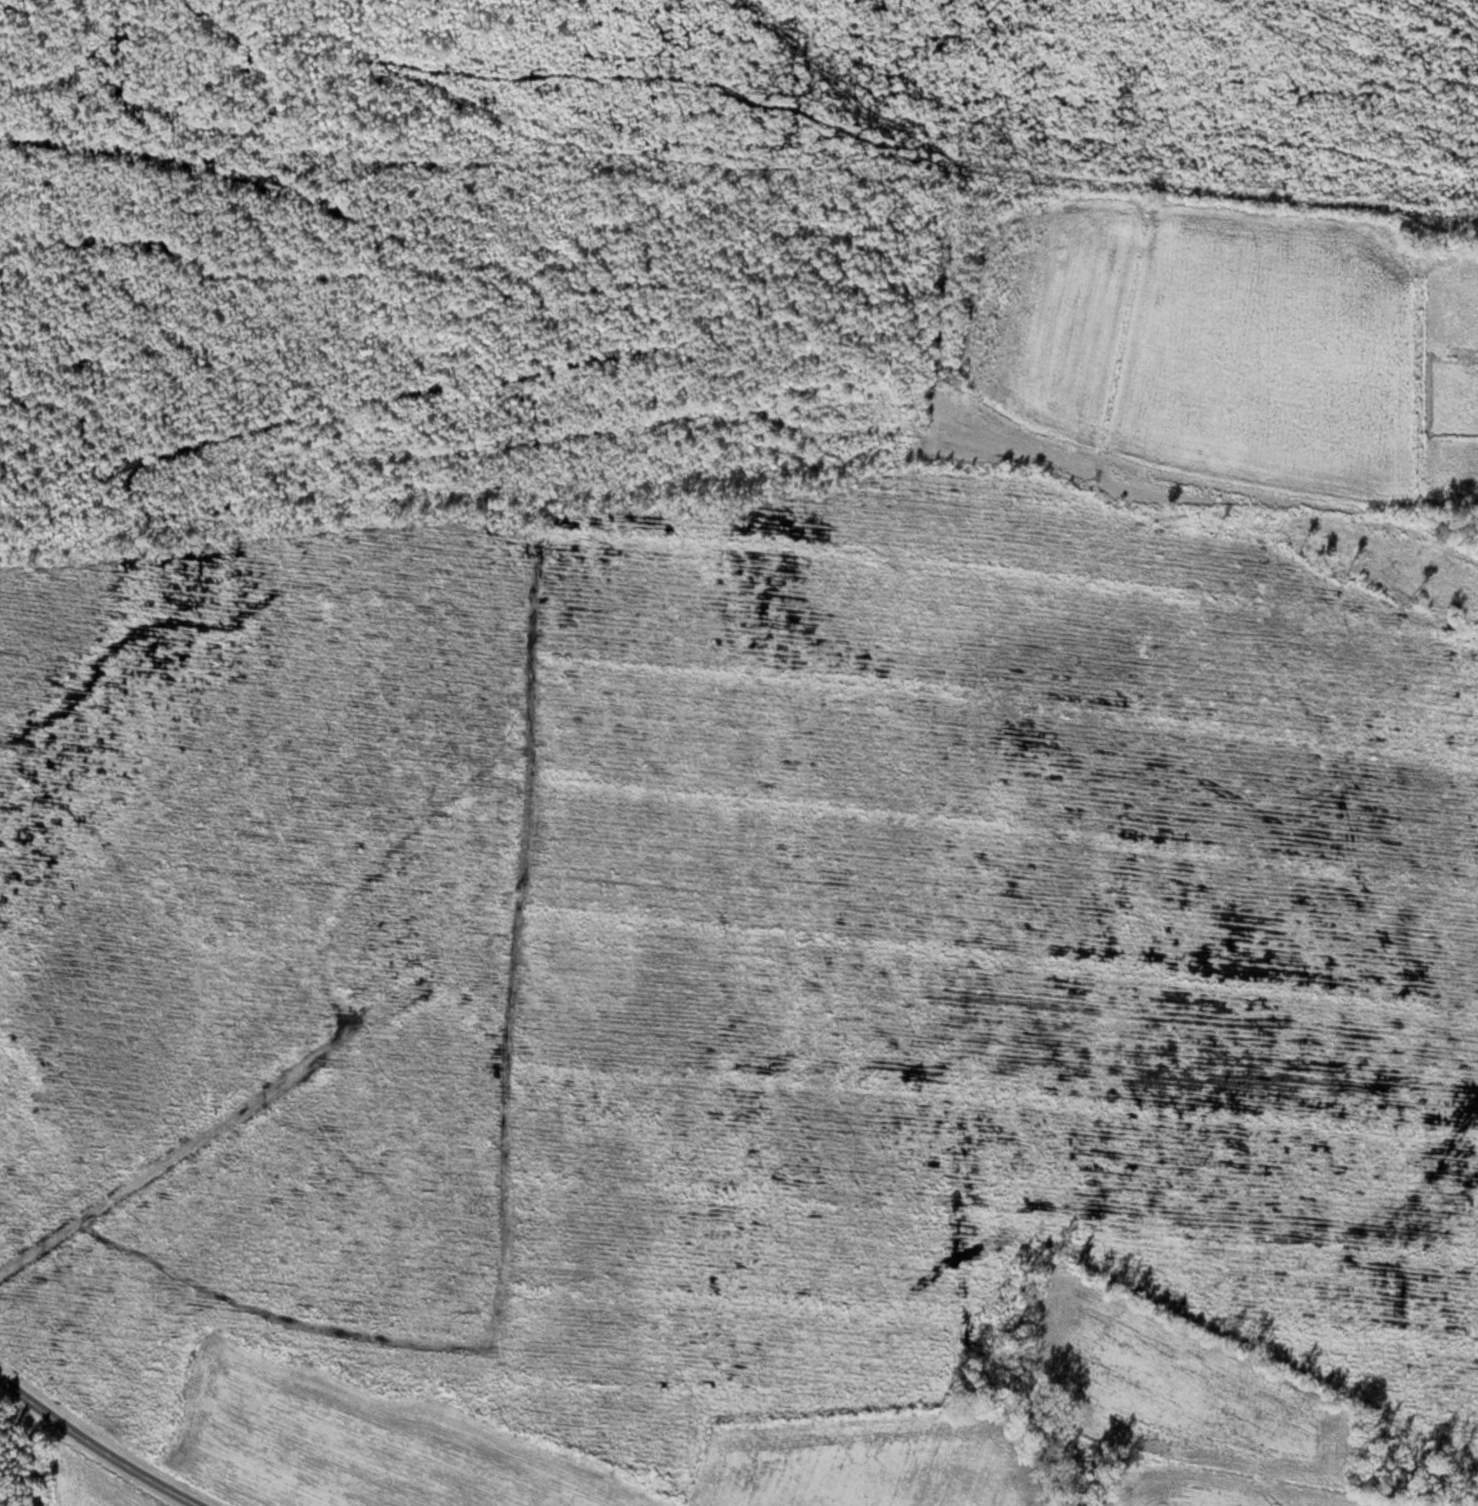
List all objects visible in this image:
road: (95, 1447)

